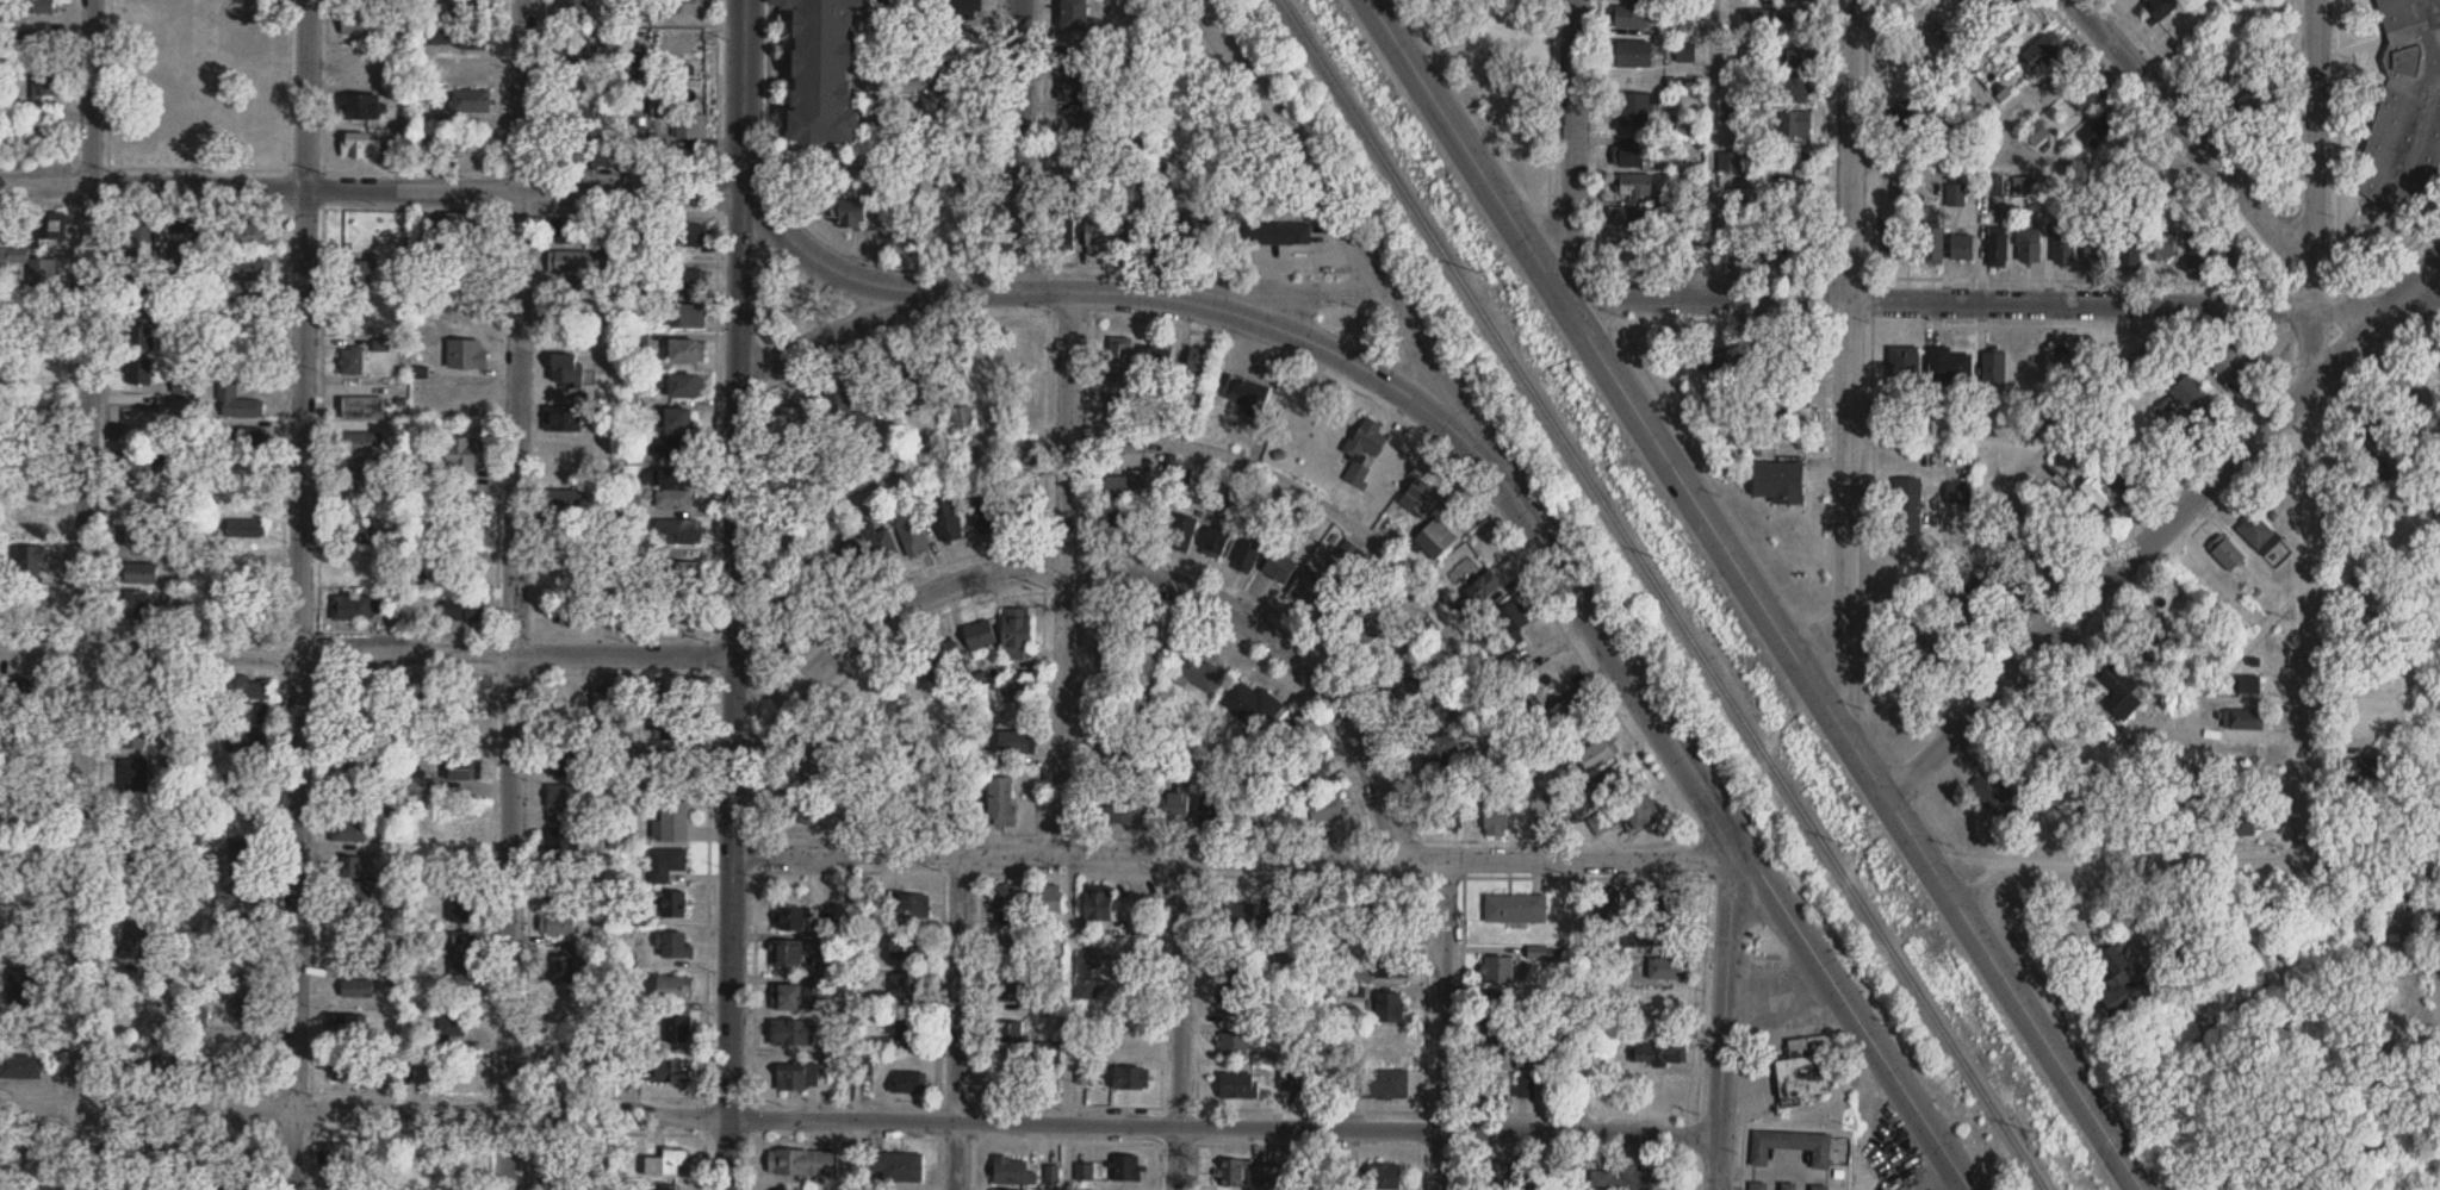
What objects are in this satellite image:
building: (1793, 0)
building: (36, 6)
building: (683, 7)
building: (1995, 8)
building: (961, 10)
building: (2157, 10)
building: (462, 11)
building: (572, 12)
building: (1074, 13)
building: (1629, 17)
building: (1780, 18)
building: (360, 21)
building: (453, 37)
building: (958, 39)
building: (37, 42)
building: (685, 49)
building: (2041, 51)
building: (577, 52)
building: (1631, 54)
building: (1782, 60)
building: (1075, 61)
building: (368, 68)
building: (817, 70)
building: (958, 71)
road: (1967, 74)
building: (2224, 79)
road: (719, 85)
building: (45, 86)
building: (582, 88)
building: (1180, 91)
building: (1789, 91)
building: (687, 93)
building: (1078, 93)
building: (2085, 95)
building: (470, 101)
building: (945, 105)
building: (359, 107)
building: (2405, 108)
building: (1637, 110)
building: (1908, 111)
building: (1733, 113)
building: (572, 116)
building: (1794, 124)
building: (689, 126)
building: (1687, 126)
building: (1079, 129)
building: (2100, 129)
building: (2036, 133)
building: (638, 135)
building: (20, 137)
road: (881, 141)
building: (45, 142)
road: (1020, 144)
building: (437, 145)
building: (360, 148)
building: (401, 148)
road: (1573, 151)
road: (1716, 151)
road: (2031, 154)
building: (602, 156)
building: (1633, 156)
building: (1787, 158)
building: (681, 160)
building: (1728, 162)
road: (466, 169)
building: (1079, 175)
road: (151, 182)
building: (1633, 185)
building: (1992, 186)
building: (2024, 188)
road: (523, 189)
building: (1900, 189)
building: (1790, 193)
building: (1741, 195)
road: (2258, 207)
building: (942, 211)
building: (849, 213)
building: (1628, 217)
building: (466, 222)
building: (1, 225)
building: (51, 226)
building: (1693, 228)
building: (573, 231)
building: (1193, 233)
building: (250, 235)
building: (1279, 235)
building: (1063, 236)
building: (1130, 236)
building: (1162, 236)
building: (645, 237)
building: (1095, 237)
building: (701, 238)
building: (143, 245)
building: (1895, 245)
building: (1932, 247)
building: (2029, 247)
building: (1998, 248)
building: (2160, 248)
building: (1962, 249)
building: (2096, 250)
building: (2197, 250)
building: (2065, 251)
building: (2128, 253)
building: (1629, 254)
building: (176, 255)
building: (1782, 255)
building: (1732, 256)
building: (2223, 257)
building: (572, 262)
building: (32, 266)
building: (253, 268)
building: (361, 273)
road: (1129, 289)
road: (1292, 291)
building: (572, 293)
building: (143, 294)
road: (2003, 304)
building: (254, 305)
building: (38, 314)
building: (691, 314)
building: (472, 319)
road: (838, 326)
building: (144, 336)
building: (690, 349)
building: (471, 354)
building: (1023, 357)
building: (1155, 357)
building: (1769, 360)
building: (354, 361)
building: (992, 361)
building: (1721, 361)
building: (1801, 362)
building: (2060, 362)
building: (1198, 363)
road: (285, 365)
road: (1851, 365)
building: (1118, 366)
building: (1904, 366)
building: (1949, 366)
building: (2234, 368)
building: (954, 372)
building: (571, 373)
building: (1993, 373)
building: (919, 384)
building: (690, 386)
building: (1246, 395)
building: (2193, 399)
building: (241, 403)
building: (365, 407)
building: (1120, 407)
building: (566, 418)
building: (962, 418)
building: (684, 419)
building: (864, 423)
building: (32, 424)
road: (535, 424)
building: (788, 426)
road: (2311, 435)
building: (248, 436)
building: (2377, 436)
building: (364, 443)
building: (672, 443)
road: (714, 447)
building: (1024, 449)
building: (1364, 450)
building: (467, 453)
building: (564, 454)
building: (1123, 455)
road: (893, 457)
building: (2123, 469)
building: (2380, 471)
building: (672, 472)
road: (2017, 474)
building: (1778, 481)
building: (353, 484)
building: (36, 485)
building: (1125, 488)
building: (2098, 491)
building: (1958, 492)
building: (143, 494)
building: (672, 496)
building: (1418, 499)
building: (567, 500)
building: (1026, 500)
building: (1907, 505)
building: (983, 513)
building: (36, 518)
building: (948, 521)
building: (1124, 522)
building: (677, 527)
building: (911, 527)
building: (248, 528)
road: (2162, 528)
building: (2259, 532)
building: (1180, 534)
building: (142, 535)
building: (2050, 536)
building: (1435, 537)
building: (1213, 544)
building: (571, 546)
road: (497, 547)
building: (883, 548)
road: (1389, 552)
building: (2225, 552)
building: (1247, 553)
building: (33, 559)
building: (852, 563)
building: (244, 565)
road: (1093, 565)
building: (1279, 566)
building: (683, 569)
building: (2039, 569)
building: (820, 571)
road: (1066, 571)
road: (1526, 571)
building: (144, 573)
building: (1306, 584)
building: (2009, 587)
road: (83, 594)
road: (299, 594)
road: (514, 594)
road: (735, 594)
railway: (1663, 594)
road: (1582, 596)
road: (1756, 596)
building: (36, 599)
building: (138, 604)
building: (1968, 604)
building: (638, 605)
building: (359, 606)
building: (677, 608)
building: (1335, 608)
building: (579, 610)
building: (467, 611)
building: (784, 613)
building: (1511, 616)
building: (2370, 623)
building: (2161, 627)
building: (1016, 633)
building: (1360, 633)
building: (977, 634)
building: (1111, 637)
road: (149, 644)
building: (1924, 652)
road: (516, 653)
building: (932, 653)
building: (1144, 656)
building: (2247, 684)
building: (1405, 686)
building: (252, 687)
building: (2121, 691)
building: (1022, 692)
building: (29, 693)
building: (677, 698)
building: (567, 700)
building: (461, 703)
building: (875, 704)
building: (1250, 704)
building: (608, 709)
building: (1565, 712)
building: (250, 714)
building: (1424, 716)
building: (2243, 718)
building: (2364, 721)
building: (678, 728)
building: (137, 731)
building: (468, 735)
building: (1289, 737)
building: (250, 741)
building: (1016, 741)
building: (2038, 743)
building: (1122, 747)
building: (1440, 747)
building: (1597, 754)
building: (359, 755)
building: (570, 760)
building: (673, 762)
building: (29, 765)
building: (460, 768)
building: (1309, 768)
building: (137, 774)
building: (1610, 783)
building: (566, 792)
building: (356, 793)
building: (1998, 797)
building: (244, 803)
building: (995, 803)
building: (1175, 806)
building: (801, 808)
building: (1123, 808)
building: (1324, 809)
building: (1635, 811)
building: (1210, 812)
building: (135, 814)
building: (1494, 814)
building: (675, 815)
building: (1447, 815)
building: (1598, 823)
building: (2241, 823)
building: (458, 829)
building: (350, 830)
road: (1153, 835)
building: (561, 843)
building: (143, 848)
building: (25, 855)
road: (1241, 855)
building: (244, 856)
building: (665, 859)
building: (353, 865)
building: (454, 868)
road: (2187, 871)
road: (1124, 872)
road: (99, 873)
building: (141, 876)
building: (200, 890)
building: (558, 891)
building: (242, 897)
building: (354, 897)
building: (1006, 897)
building: (1045, 898)
building: (672, 901)
road: (708, 902)
building: (1097, 902)
building: (912, 905)
building: (1676, 905)
building: (1515, 908)
building: (1608, 909)
building: (32, 910)
building: (1275, 912)
road: (755, 915)
building: (1238, 917)
road: (1427, 917)
building: (788, 918)
road: (1464, 920)
building: (560, 923)
building: (1367, 926)
building: (1656, 935)
building: (139, 940)
building: (672, 941)
building: (904, 945)
building: (1013, 945)
building: (787, 953)
building: (1546, 953)
building: (1234, 960)
building: (1391, 964)
building: (1087, 967)
building: (563, 968)
building: (472, 970)
building: (1497, 970)
building: (1666, 970)
road: (527, 971)
building: (249, 974)
building: (2118, 978)
building: (26, 986)
building: (673, 986)
building: (905, 986)
building: (1007, 987)
building: (361, 989)
road: (1312, 990)
building: (786, 993)
road: (1575, 993)
building: (1235, 999)
building: (565, 1003)
building: (1390, 1007)
building: (250, 1009)
building: (1490, 1009)
road: (960, 1021)
road: (1068, 1021)
road: (1180, 1022)
road: (1724, 1022)
building: (350, 1023)
road: (1443, 1023)
building: (455, 1024)
building: (907, 1026)
building: (681, 1029)
road: (940, 1029)
road: (976, 1029)
building: (1131, 1029)
building: (1012, 1032)
building: (790, 1033)
road: (1700, 1033)
building: (1233, 1043)
building: (1389, 1046)
building: (1494, 1046)
building: (1659, 1052)
building: (159, 1055)
building: (20, 1061)
building: (1527, 1061)
building: (238, 1064)
building: (347, 1066)
building: (427, 1068)
building: (561, 1068)
building: (391, 1070)
building: (1802, 1070)
building: (676, 1071)
building: (796, 1077)
building: (1119, 1077)
building: (1290, 1078)
building: (1374, 1080)
building: (909, 1082)
building: (1238, 1085)
building: (1508, 1088)
road: (147, 1105)
road: (526, 1110)
road: (868, 1120)
road: (77, 1122)
road: (584, 1129)
road: (1579, 1130)
road: (1067, 1139)
road: (489, 1142)
road: (1308, 1144)
building: (1790, 1145)
road: (1556, 1148)
building: (25, 1149)
building: (339, 1152)
building: (218, 1153)
road: (1740, 1155)
road: (703, 1160)
building: (671, 1161)
building: (802, 1163)
road: (1159, 1165)
building: (895, 1166)
building: (1125, 1167)
building: (1012, 1171)
building: (1249, 1173)
building: (1384, 1175)
building: (1497, 1175)
building: (1528, 1178)
building: (1625, 1178)
building: (244, 1182)
building: (561, 1184)
building: (1756, 1185)
building: (1787, 1186)
building: (1818, 1188)
building: (784, 1189)
building: (1008, 1189)

